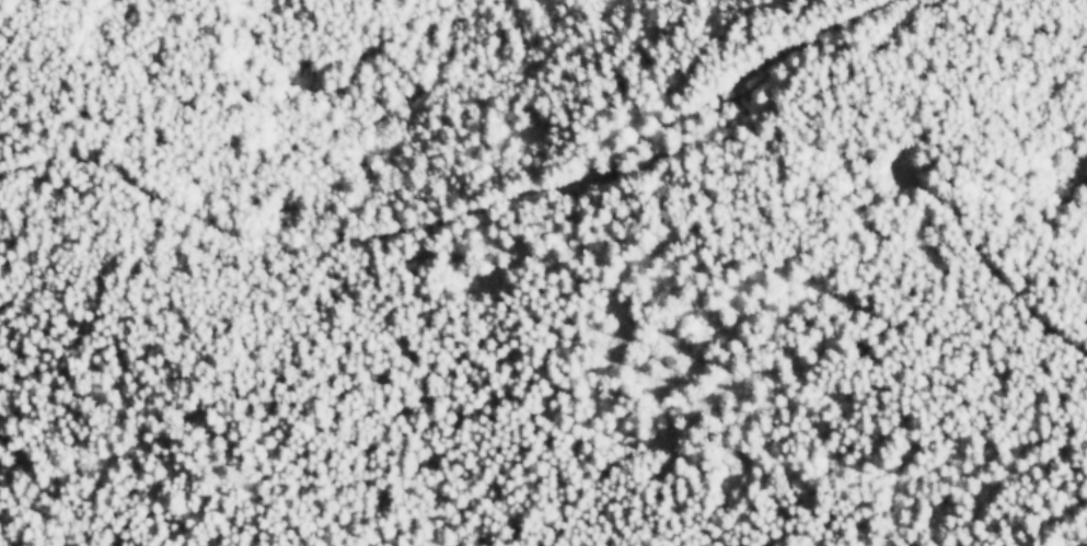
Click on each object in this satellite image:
road: (571, 178)

